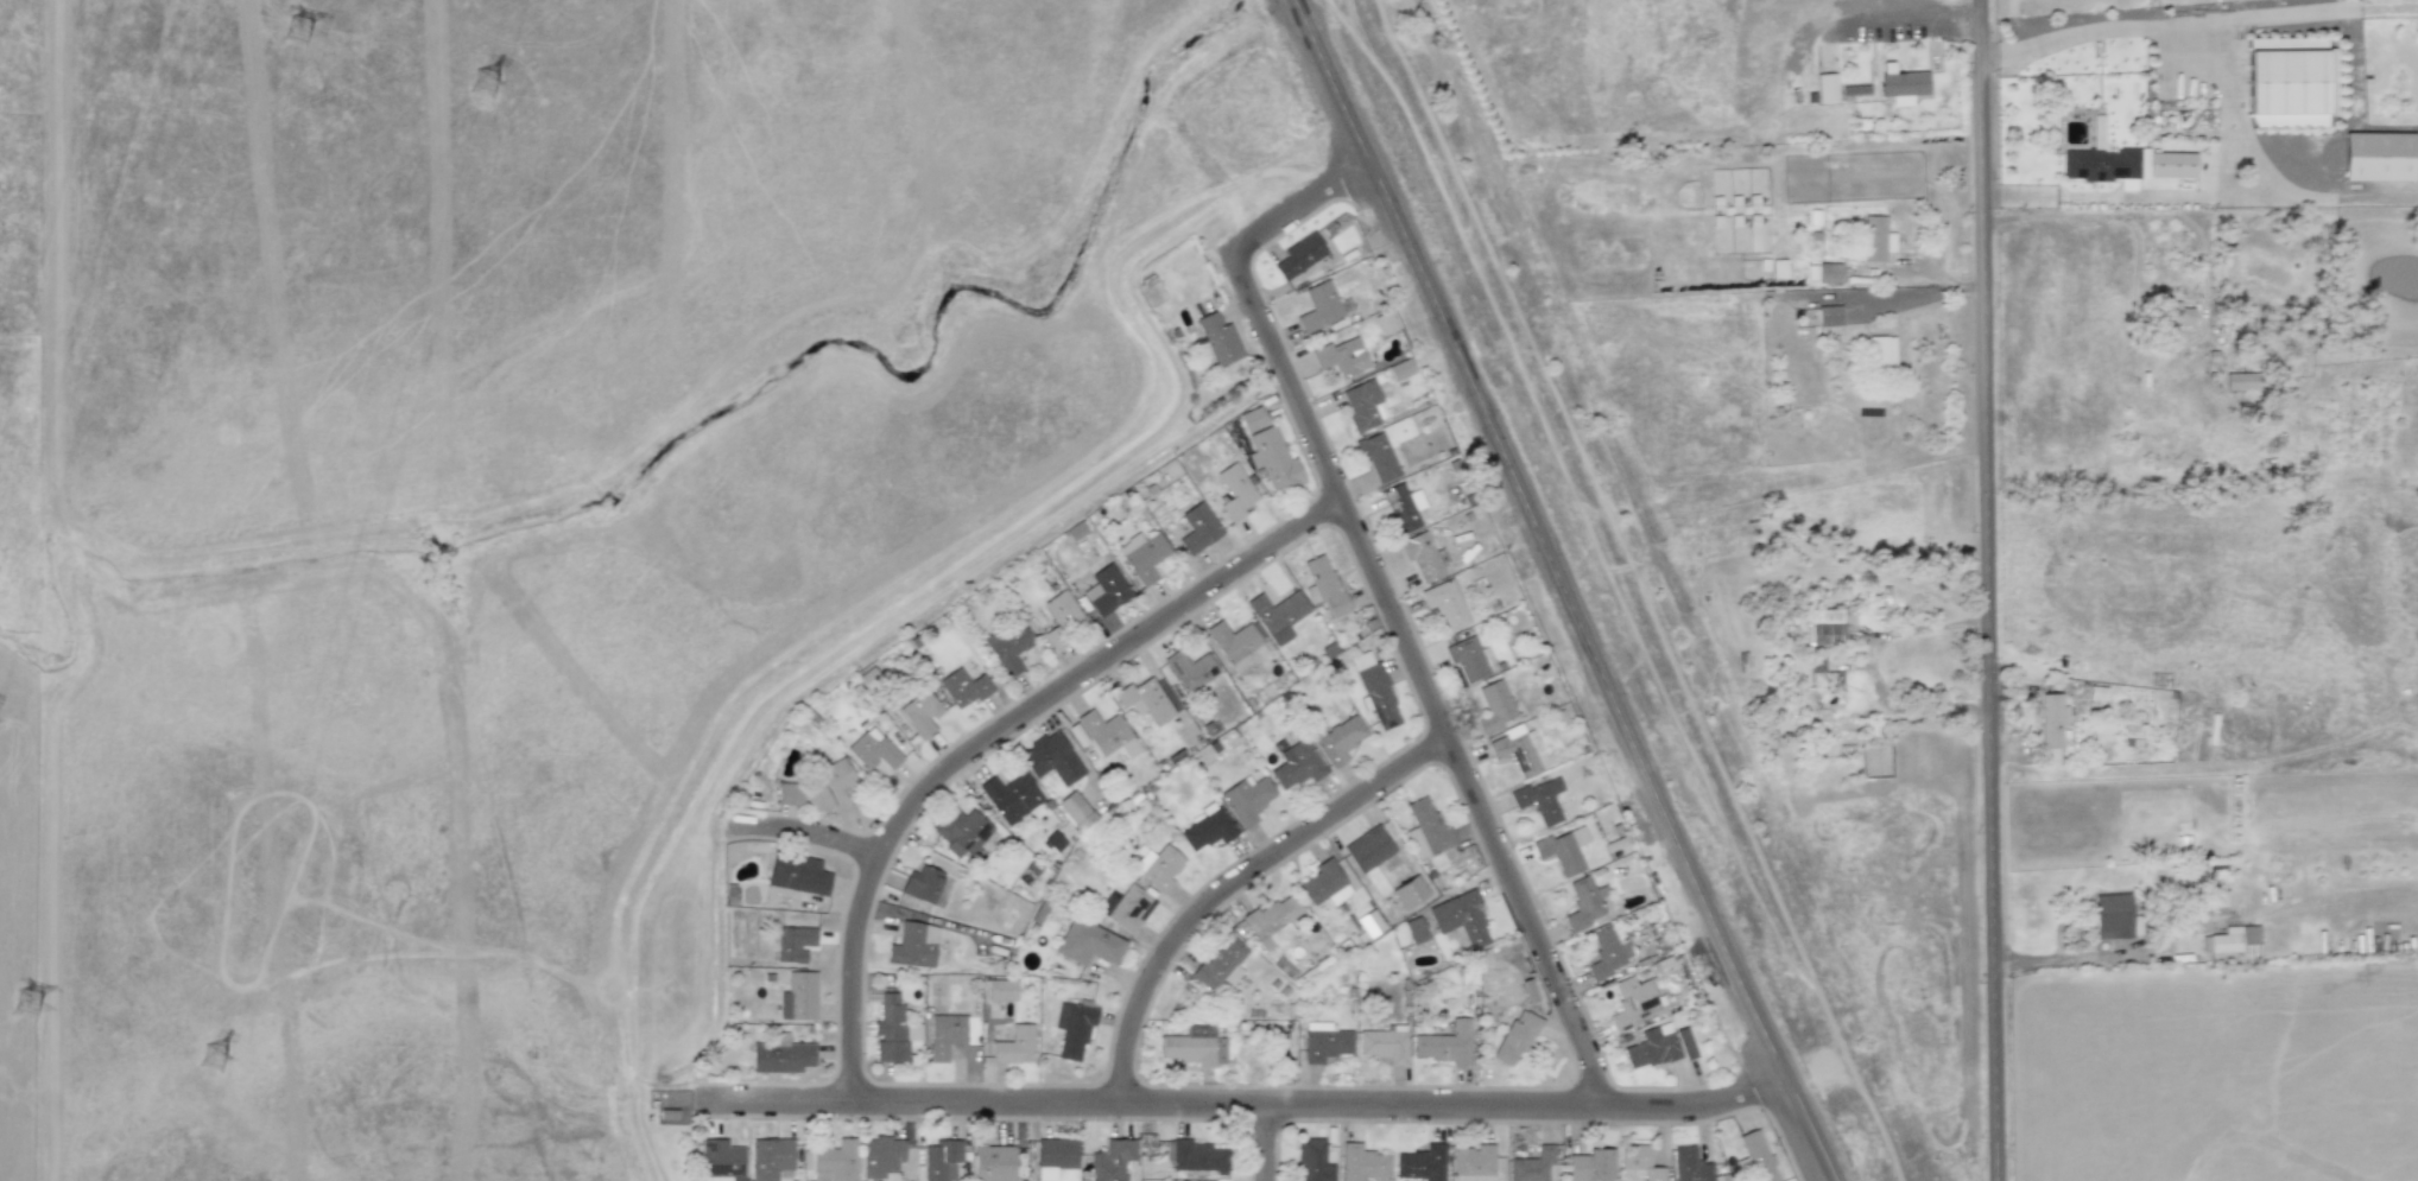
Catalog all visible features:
crop: (1976, 6)
road: (2232, 21)
road: (2109, 26)
power tower: (298, 33)
building: (2286, 82)
building: (1901, 84)
power tower: (487, 85)
building: (1827, 87)
building: (1855, 90)
building: (2378, 155)
building: (2106, 164)
building: (2172, 164)
road: (2203, 196)
road: (1298, 208)
building: (1875, 239)
building: (1299, 255)
building: (1778, 269)
building: (1829, 273)
road: (1970, 285)
road: (1905, 299)
building: (1318, 307)
building: (2175, 315)
building: (1829, 316)
building: (1384, 323)
building: (1219, 339)
building: (1880, 351)
building: (1343, 357)
building: (1400, 369)
building: (2240, 381)
building: (1363, 405)
building: (1253, 419)
building: (1376, 456)
building: (1273, 461)
building: (1234, 491)
building: (1401, 508)
building: (1197, 528)
building: (1142, 555)
building: (1420, 555)
building: (1323, 585)
building: (1106, 590)
road: (1994, 590)
road: (1563, 591)
building: (1444, 604)
building: (1064, 614)
building: (1278, 615)
building: (1824, 627)
building: (1238, 645)
building: (1007, 647)
building: (1469, 659)
road: (1872, 667)
building: (1190, 669)
road: (1420, 678)
building: (1823, 686)
building: (963, 687)
building: (1376, 692)
building: (1145, 700)
building: (1494, 707)
building: (920, 713)
building: (2051, 719)
building: (1107, 734)
road: (994, 738)
building: (1340, 739)
building: (873, 750)
building: (1517, 751)
building: (1051, 758)
building: (1297, 766)
building: (1011, 796)
building: (1246, 799)
building: (1540, 800)
building: (1075, 811)
building: (1207, 828)
building: (1426, 830)
building: (961, 831)
road: (800, 834)
building: (1368, 849)
building: (1562, 850)
building: (1154, 865)
building: (797, 875)
building: (1325, 884)
building: (925, 887)
road: (1239, 888)
building: (1409, 893)
building: (1585, 903)
building: (1126, 907)
building: (2112, 915)
building: (1272, 920)
building: (1461, 921)
building: (1369, 922)
building: (1414, 931)
building: (793, 942)
building: (1088, 942)
building: (913, 945)
building: (2233, 945)
building: (1608, 952)
road: (2091, 960)
building: (1221, 965)
building: (1001, 990)
building: (800, 995)
building: (1530, 995)
building: (1633, 1002)
power tower: (29, 1007)
building: (1072, 1029)
building: (945, 1035)
building: (1515, 1037)
building: (1324, 1042)
building: (1385, 1043)
building: (1447, 1043)
building: (1014, 1046)
building: (1659, 1047)
building: (1194, 1049)
building: (780, 1055)
power tower: (215, 1060)
road: (1241, 1105)
road: (1266, 1143)
building: (881, 1156)
building: (1055, 1156)
building: (1197, 1156)
building: (770, 1157)
building: (1754, 1157)
building: (941, 1160)
building: (1112, 1160)
building: (721, 1161)
building: (1312, 1161)
building: (835, 1162)
building: (1639, 1162)
building: (994, 1163)
building: (1362, 1163)
building: (1422, 1163)
building: (1473, 1163)
building: (1534, 1166)
building: (1690, 1166)
building: (1590, 1167)

